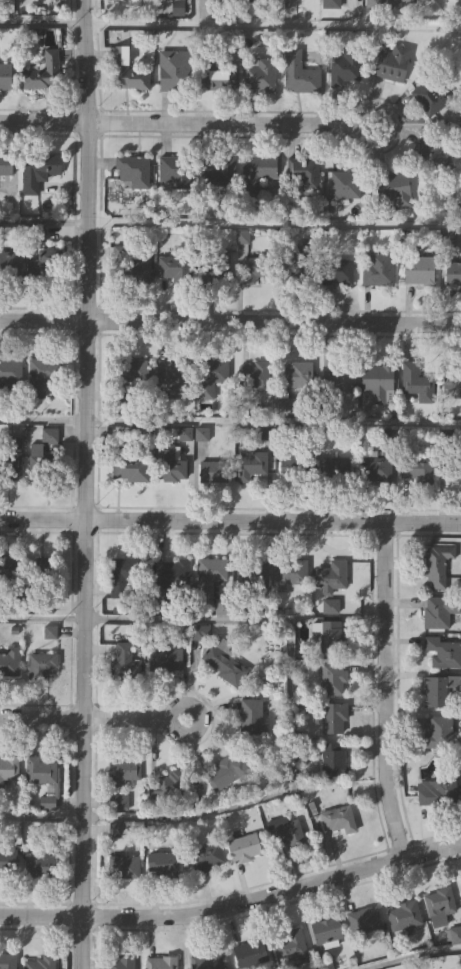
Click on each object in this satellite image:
building: (247, 0)
building: (291, 0)
building: (331, 3)
building: (385, 3)
road: (230, 22)
building: (391, 64)
building: (344, 66)
building: (44, 69)
building: (176, 70)
building: (128, 71)
building: (214, 73)
building: (300, 73)
building: (260, 74)
building: (6, 76)
building: (431, 97)
road: (188, 121)
building: (434, 152)
building: (6, 164)
building: (38, 170)
building: (135, 170)
building: (175, 171)
building: (305, 171)
building: (256, 175)
building: (219, 177)
building: (345, 184)
building: (393, 188)
road: (230, 223)
building: (11, 263)
building: (297, 263)
building: (47, 265)
building: (132, 266)
building: (218, 267)
building: (259, 267)
building: (378, 268)
building: (177, 269)
building: (419, 269)
building: (336, 270)
building: (453, 273)
road: (230, 318)
building: (11, 372)
building: (212, 374)
building: (298, 374)
building: (130, 375)
building: (41, 376)
building: (256, 376)
building: (171, 378)
building: (339, 378)
building: (452, 379)
building: (417, 382)
building: (377, 383)
road: (230, 426)
building: (186, 435)
building: (41, 456)
building: (11, 460)
building: (129, 463)
building: (170, 463)
building: (251, 463)
building: (297, 464)
building: (335, 464)
building: (374, 467)
building: (213, 469)
building: (415, 469)
building: (454, 470)
road: (81, 484)
road: (230, 519)
building: (437, 563)
building: (45, 569)
building: (10, 572)
building: (291, 572)
building: (124, 575)
building: (173, 576)
building: (209, 576)
building: (255, 576)
building: (331, 577)
building: (440, 610)
road: (40, 622)
building: (331, 636)
building: (443, 652)
building: (163, 655)
building: (224, 661)
building: (9, 662)
building: (125, 664)
building: (43, 665)
building: (333, 679)
road: (383, 686)
building: (439, 688)
road: (290, 711)
road: (40, 717)
building: (334, 717)
road: (132, 718)
building: (253, 718)
building: (440, 731)
building: (332, 758)
building: (9, 770)
building: (124, 770)
building: (40, 771)
building: (228, 772)
building: (168, 784)
building: (439, 790)
building: (119, 803)
road: (39, 819)
building: (338, 819)
building: (286, 832)
building: (244, 847)
building: (207, 856)
building: (164, 861)
building: (9, 862)
building: (125, 865)
building: (43, 866)
road: (233, 898)
building: (440, 904)
building: (403, 917)
building: (365, 920)
building: (326, 930)
building: (289, 947)
building: (252, 951)
building: (206, 959)
road: (413, 959)
building: (7, 961)
building: (160, 961)
building: (121, 962)
building: (41, 963)

